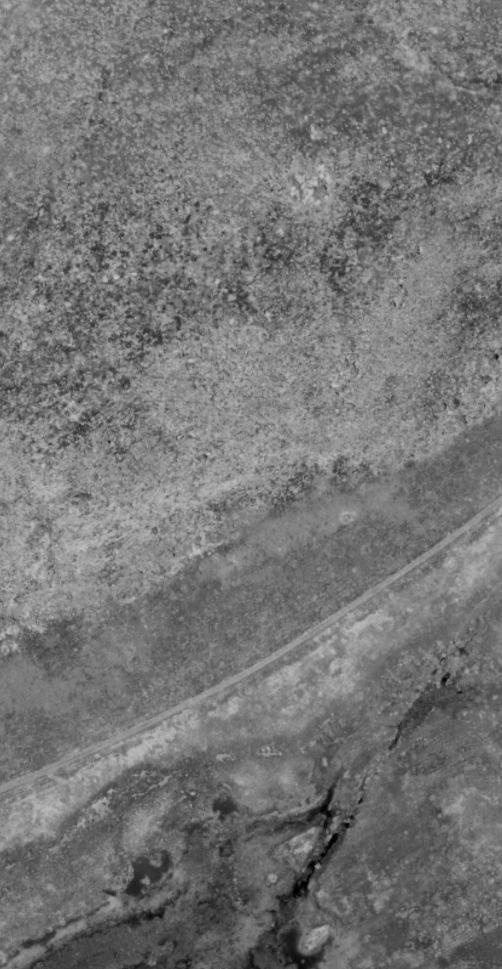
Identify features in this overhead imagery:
road: (247, 649)

